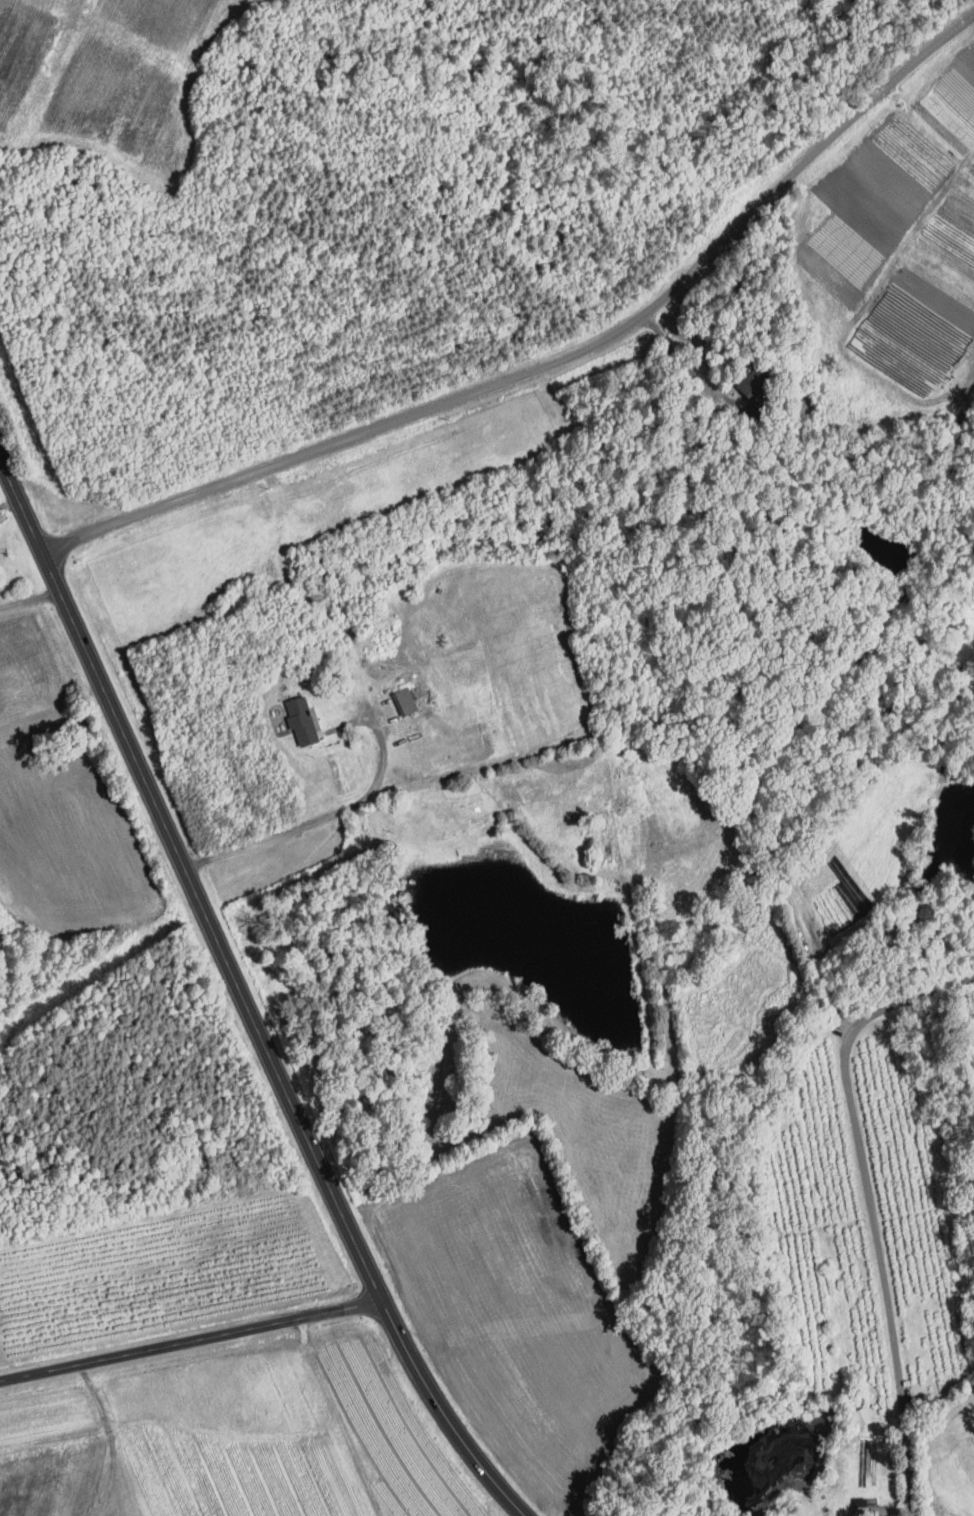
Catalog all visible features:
road: (681, 359)
road: (554, 363)
building: (757, 381)
road: (29, 598)
building: (408, 699)
building: (304, 719)
road: (317, 819)
road: (242, 997)
road: (871, 1204)
road: (188, 1339)
building: (875, 1507)

